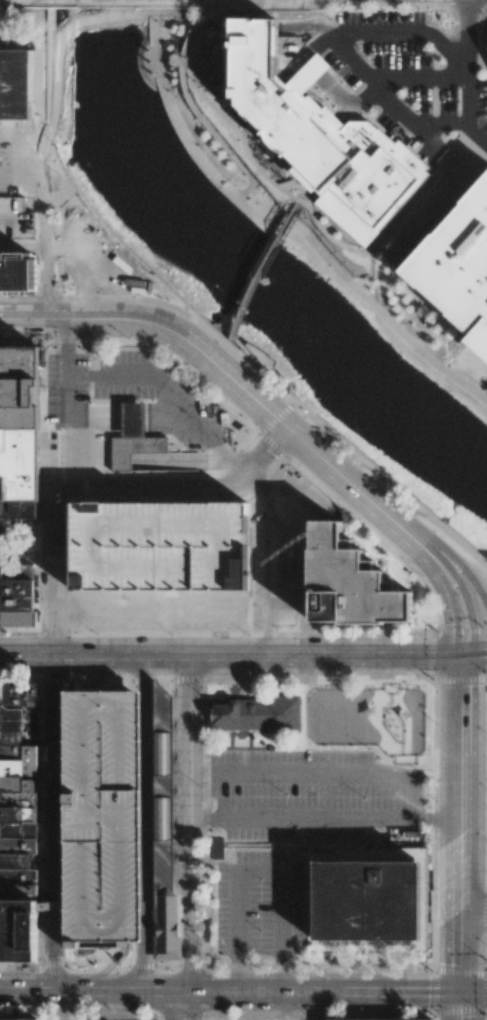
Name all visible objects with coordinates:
road: (468, 23)
railway: (435, 37)
building: (486, 40)
road: (372, 81)
road: (419, 81)
building: (16, 83)
railway: (387, 111)
building: (319, 128)
road: (476, 134)
road: (280, 182)
road: (287, 217)
parking lot: (15, 219)
river: (239, 265)
road: (264, 268)
building: (459, 269)
building: (18, 272)
road: (57, 316)
road: (195, 327)
road: (240, 345)
road: (64, 399)
road: (100, 399)
road: (179, 404)
parking lot: (67, 406)
road: (146, 416)
building: (18, 428)
building: (135, 438)
road: (321, 456)
road: (242, 472)
road: (255, 485)
road: (54, 504)
road: (300, 541)
road: (270, 549)
building: (157, 552)
parking lot: (157, 552)
road: (457, 566)
building: (346, 583)
building: (13, 598)
road: (286, 603)
road: (270, 629)
road: (302, 629)
street lamp: (27, 634)
road: (486, 642)
road: (473, 653)
road: (27, 654)
road: (117, 655)
road: (321, 655)
traffic signals: (460, 656)
road: (132, 668)
road: (473, 678)
building: (261, 715)
road: (286, 775)
park: (473, 783)
road: (460, 785)
building: (164, 790)
building: (18, 796)
parking lot: (312, 797)
building: (105, 818)
parking lot: (105, 818)
road: (321, 820)
road: (54, 822)
road: (182, 823)
building: (217, 848)
road: (259, 871)
building: (367, 901)
road: (485, 901)
parking lot: (258, 903)
road: (474, 914)
building: (164, 923)
building: (19, 928)
road: (460, 953)
road: (110, 967)
street lamp: (171, 971)
road: (90, 991)
road: (320, 993)
traffic signals: (460, 994)
road: (473, 994)
road: (181, 1006)
road: (284, 1006)
road: (460, 1007)
parking lot: (237, 1017)
building: (17, 1019)
building: (366, 1019)

